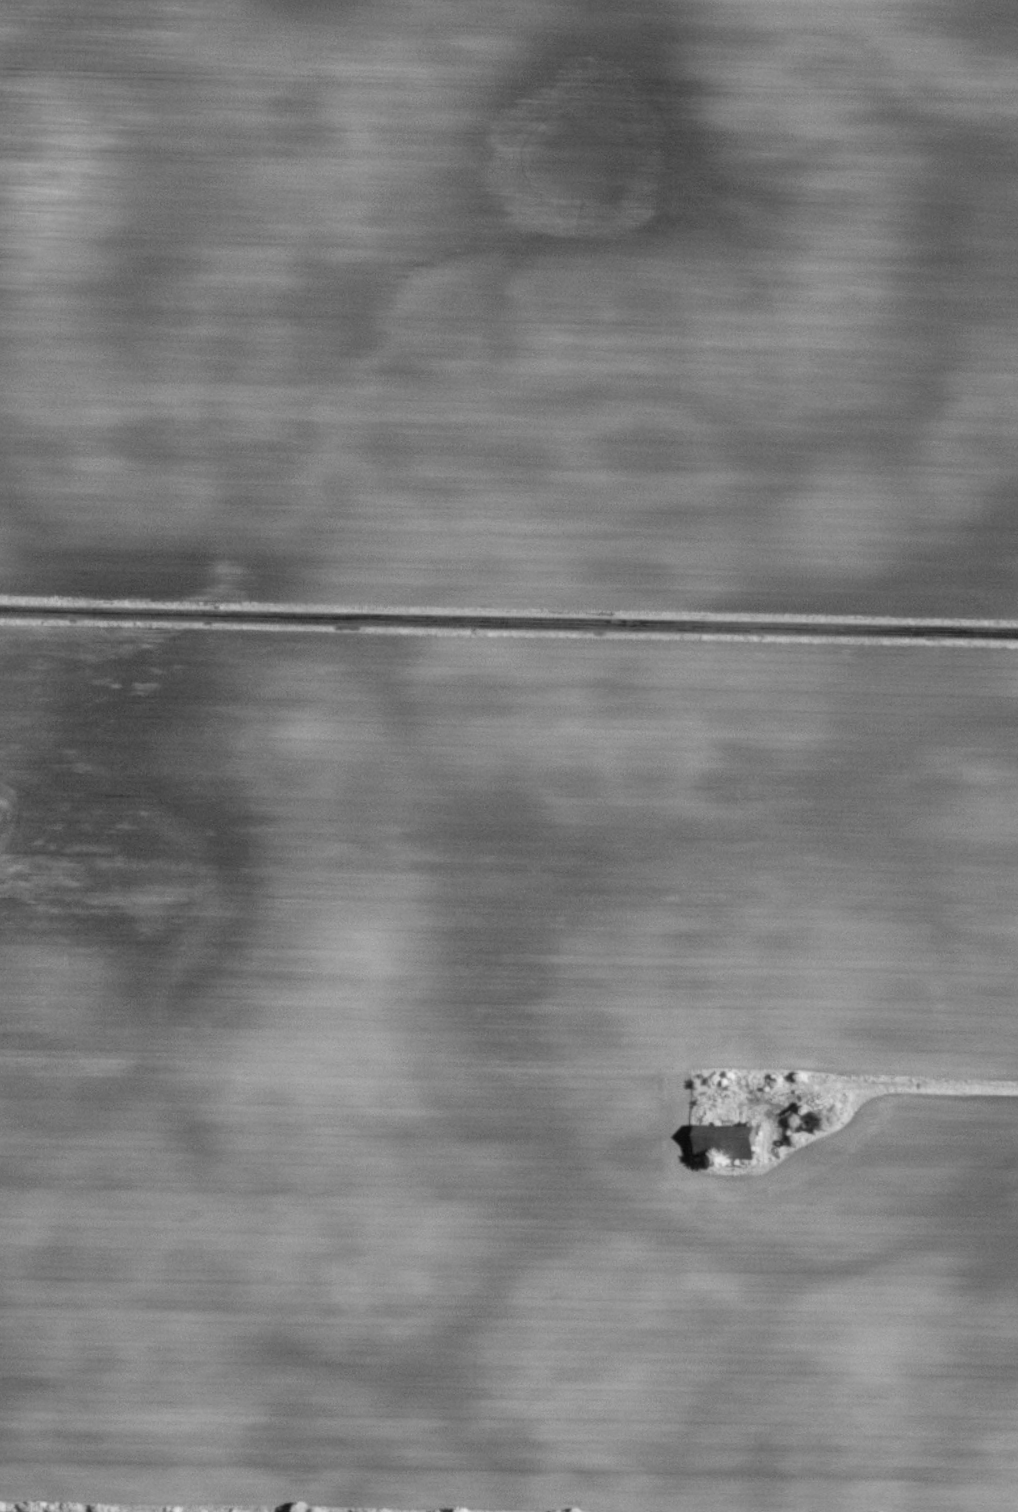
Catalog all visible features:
road: (508, 623)
road: (871, 1088)
building: (731, 1138)

